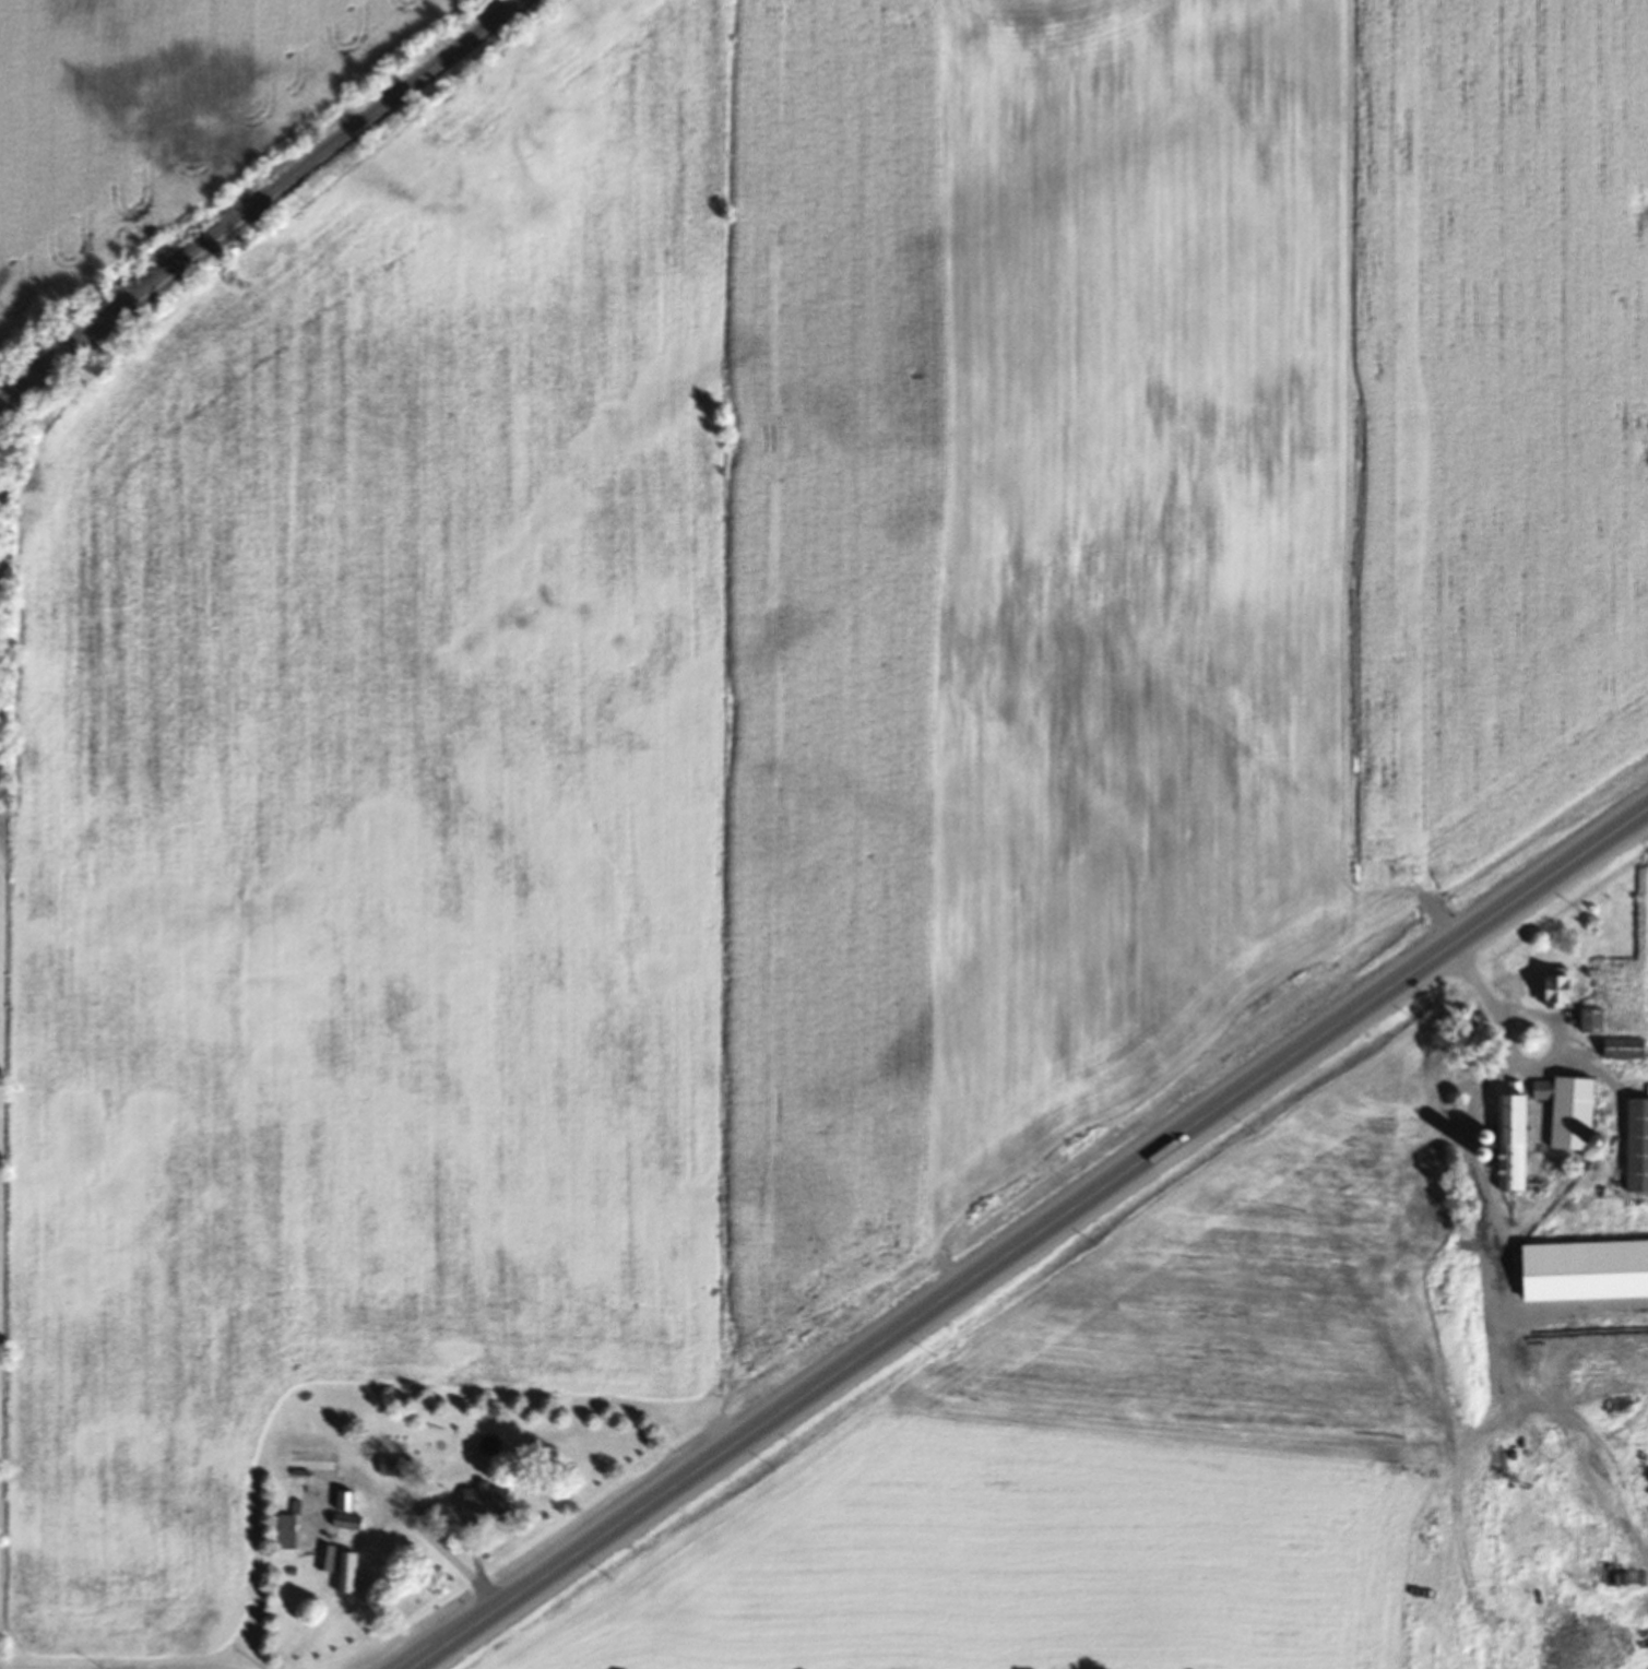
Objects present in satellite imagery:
crop: (161, 123)
railway: (263, 203)
building: (1551, 993)
building: (1590, 1023)
building: (1621, 1051)
road: (1480, 1096)
building: (1569, 1115)
building: (1507, 1145)
building: (1636, 1150)
road: (1030, 1238)
building: (1581, 1273)
building: (485, 1503)
building: (345, 1504)
building: (285, 1535)
building: (334, 1564)

